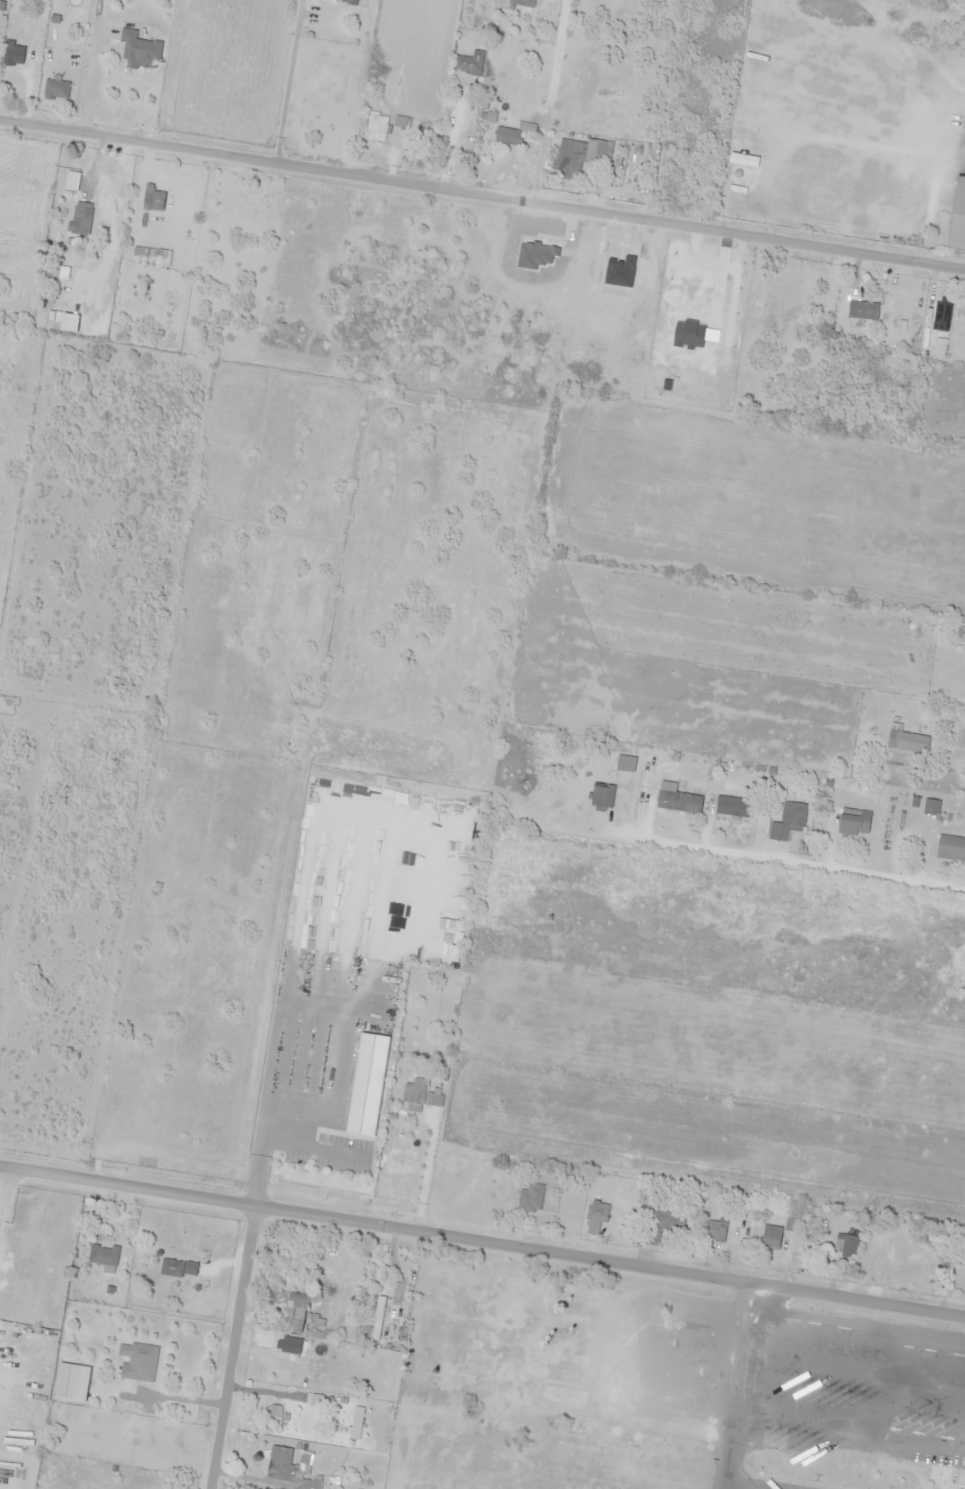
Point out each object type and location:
building: (344, 0)
building: (523, 3)
building: (139, 51)
building: (13, 54)
building: (469, 64)
building: (56, 89)
building: (376, 127)
building: (507, 136)
building: (598, 152)
building: (569, 158)
building: (71, 181)
road: (482, 194)
building: (153, 199)
building: (80, 218)
building: (958, 218)
building: (139, 255)
building: (863, 310)
building: (941, 316)
building: (958, 632)
building: (908, 743)
building: (625, 764)
building: (602, 796)
building: (732, 807)
building: (931, 807)
building: (787, 822)
building: (853, 822)
building: (951, 848)
building: (417, 1096)
building: (531, 1199)
building: (596, 1217)
building: (664, 1221)
building: (714, 1231)
building: (771, 1238)
road: (482, 1241)
building: (845, 1245)
building: (899, 1253)
building: (103, 1255)
building: (178, 1268)
building: (296, 1314)
building: (378, 1319)
building: (291, 1346)
road: (229, 1347)
building: (138, 1362)
building: (72, 1382)
building: (314, 1400)
building: (356, 1424)
building: (285, 1469)
building: (901, 1470)

